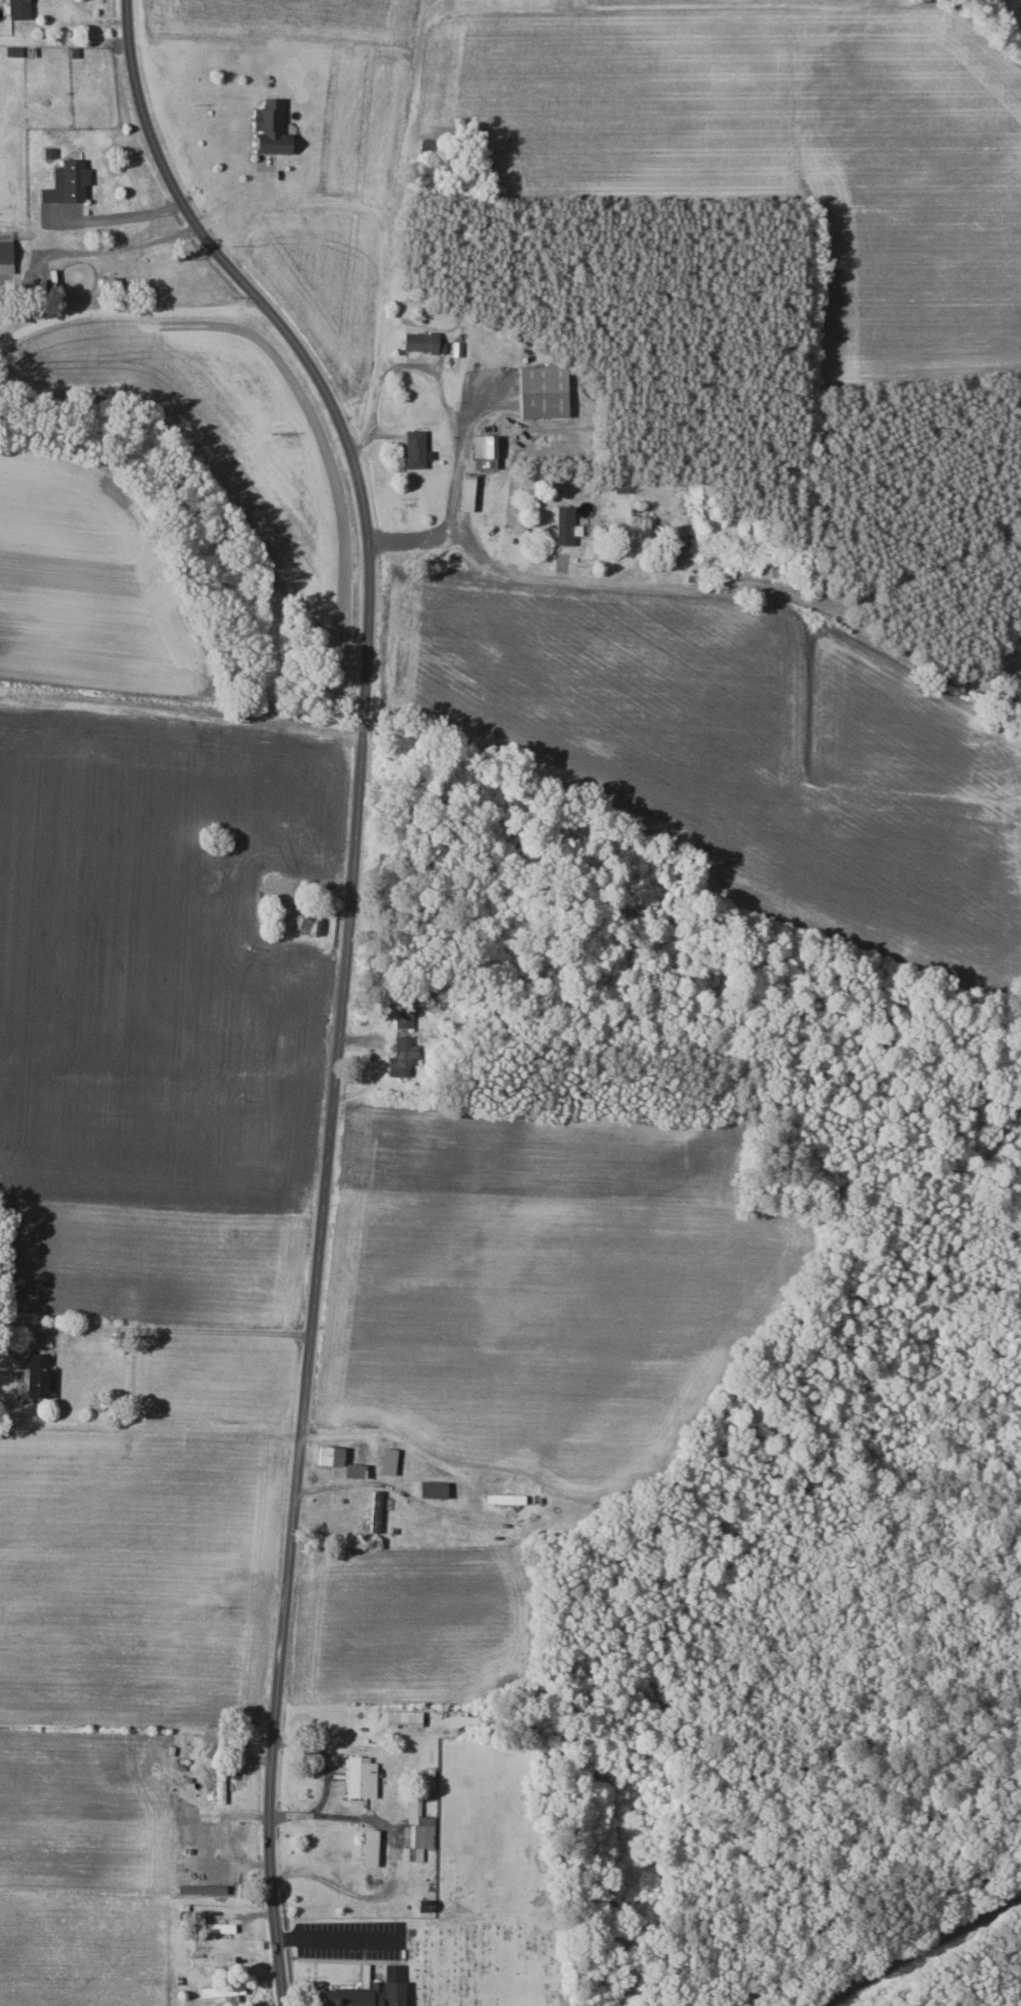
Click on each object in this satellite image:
building: (20, 9)
building: (274, 128)
building: (70, 182)
road: (118, 217)
road: (388, 235)
road: (114, 244)
building: (7, 256)
road: (126, 308)
building: (426, 342)
building: (546, 392)
building: (417, 449)
road: (460, 452)
building: (487, 452)
building: (470, 492)
building: (569, 525)
building: (653, 527)
building: (770, 569)
road: (696, 584)
building: (310, 925)
road: (346, 971)
building: (406, 1017)
building: (405, 1057)
road: (180, 1330)
building: (41, 1376)
building: (333, 1457)
building: (391, 1462)
building: (358, 1472)
building: (437, 1490)
building: (458, 1490)
road: (476, 1499)
building: (507, 1499)
building: (378, 1511)
building: (405, 1718)
road: (325, 1756)
building: (364, 1777)
building: (222, 1788)
building: (373, 1847)
road: (395, 1861)
road: (924, 1954)
building: (370, 1995)

